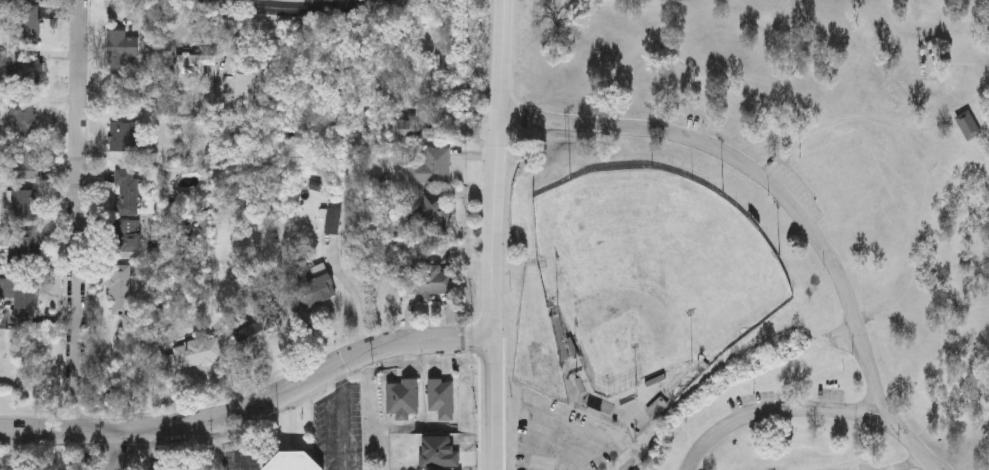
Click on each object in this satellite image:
building: (27, 0)
road: (283, 8)
building: (26, 24)
building: (119, 48)
building: (28, 71)
building: (24, 118)
road: (860, 118)
parking lot: (683, 122)
building: (404, 127)
building: (968, 127)
building: (122, 136)
building: (29, 160)
building: (431, 166)
road: (758, 176)
building: (127, 190)
parking lot: (793, 190)
building: (24, 204)
building: (428, 214)
road: (81, 216)
building: (331, 220)
road: (492, 234)
building: (130, 235)
park: (746, 235)
building: (28, 246)
park: (653, 275)
building: (430, 280)
building: (120, 289)
building: (312, 289)
building: (20, 292)
road: (359, 307)
building: (255, 322)
building: (191, 351)
building: (441, 401)
building: (658, 408)
road: (251, 411)
road: (774, 412)
road: (345, 419)
parking lot: (561, 437)
road: (246, 441)
road: (910, 442)
road: (115, 451)
building: (293, 461)
road: (627, 461)
building: (162, 465)
building: (853, 468)
building: (2, 469)

